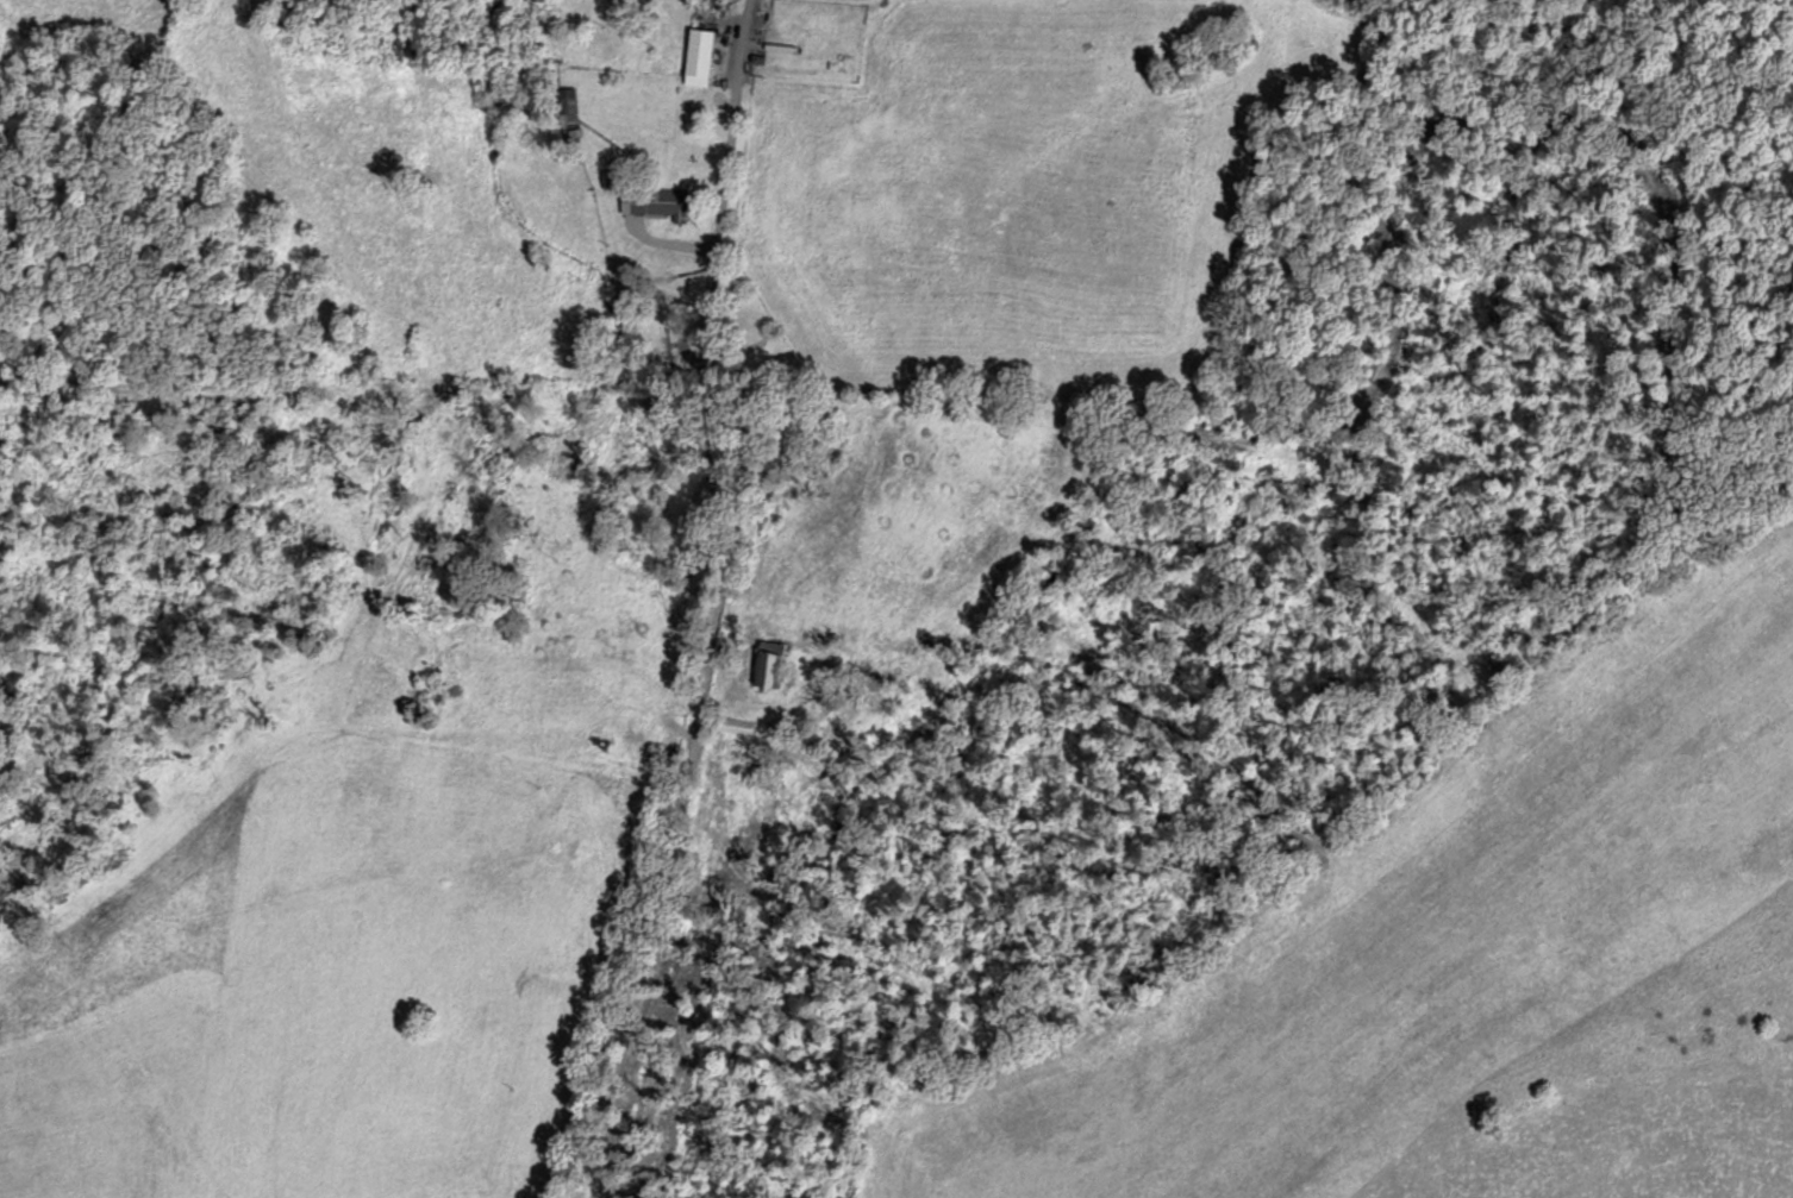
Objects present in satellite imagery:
building: (705, 56)
building: (660, 201)
building: (662, 347)
road: (699, 607)
building: (774, 664)

